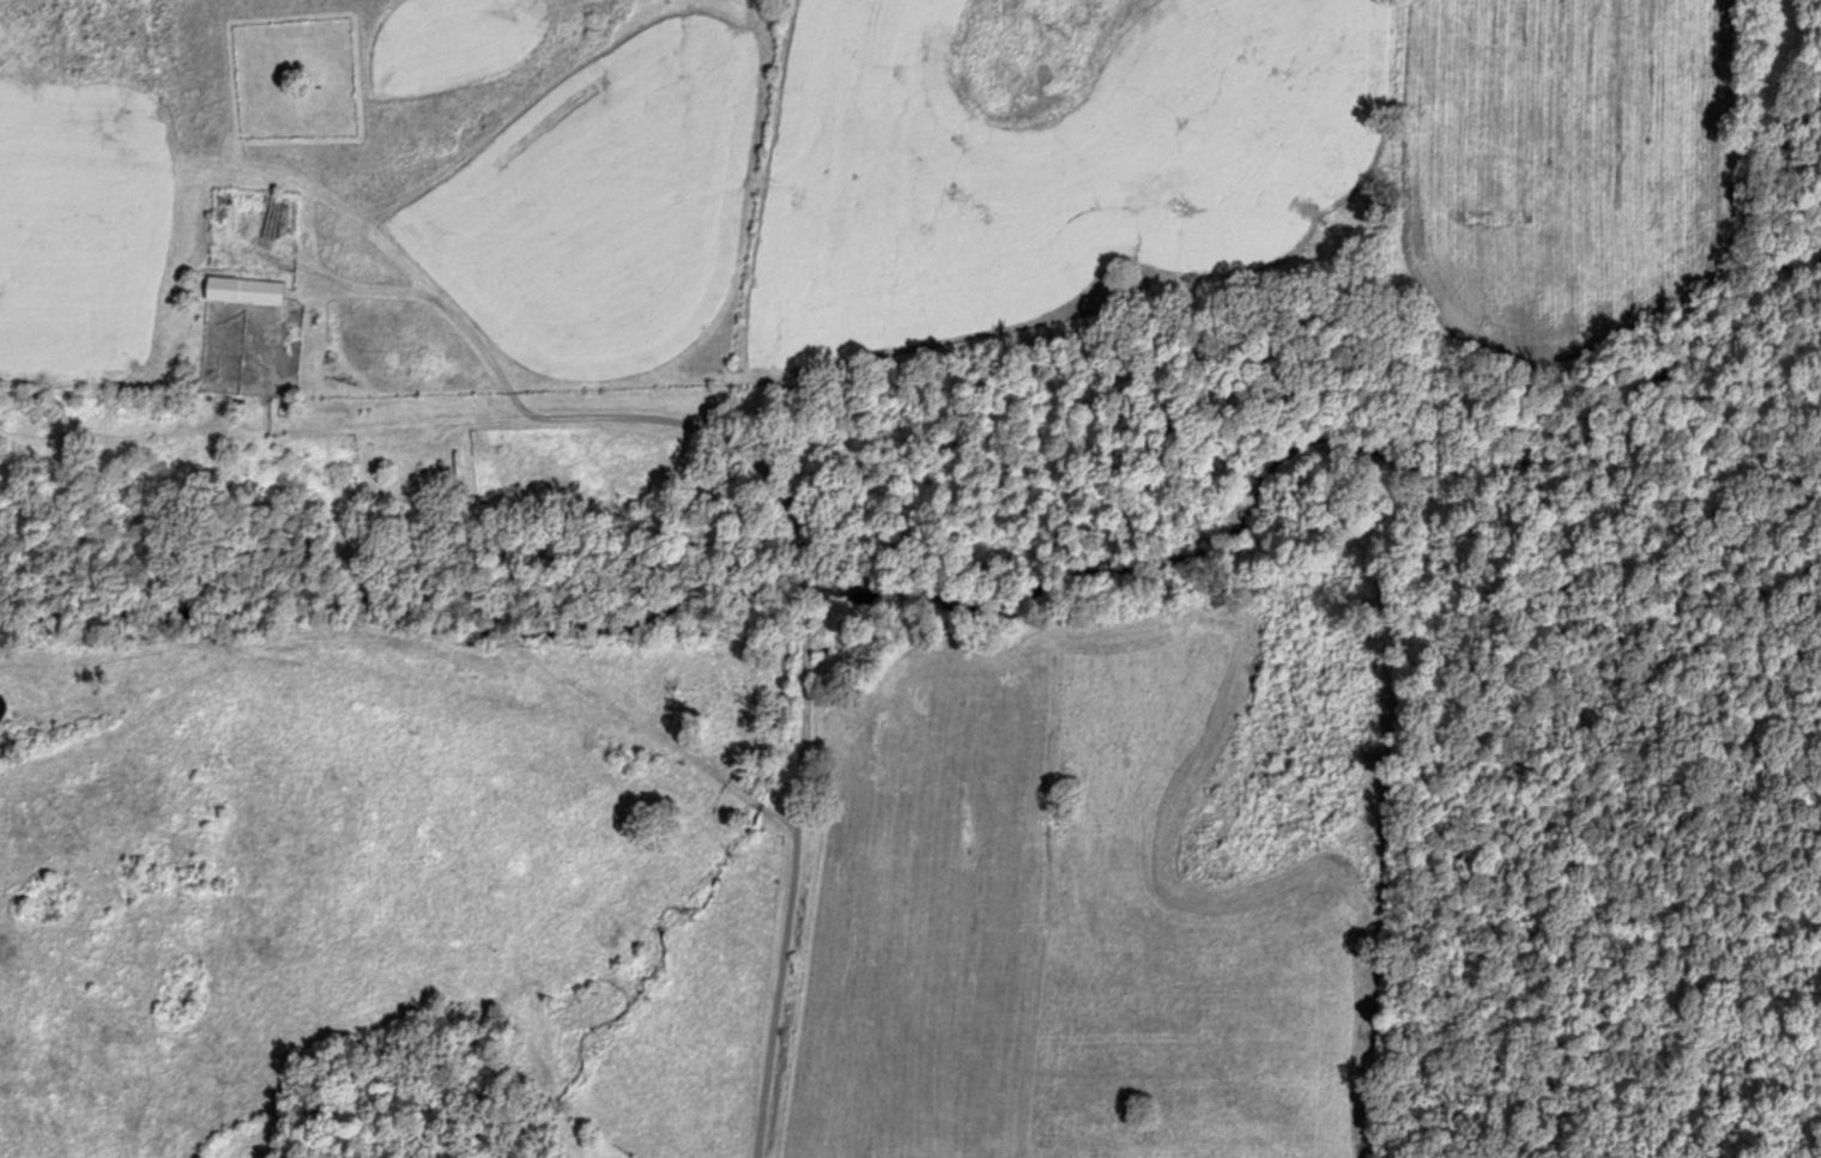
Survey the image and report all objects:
building: (249, 289)
road: (440, 299)
road: (806, 631)

